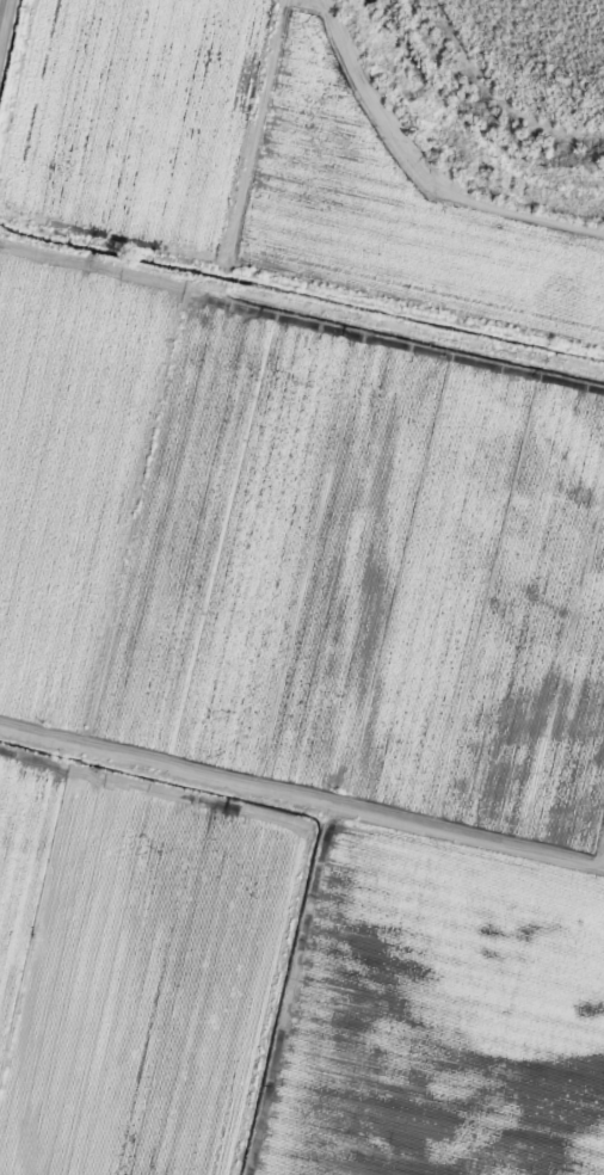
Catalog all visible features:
road: (302, 811)

